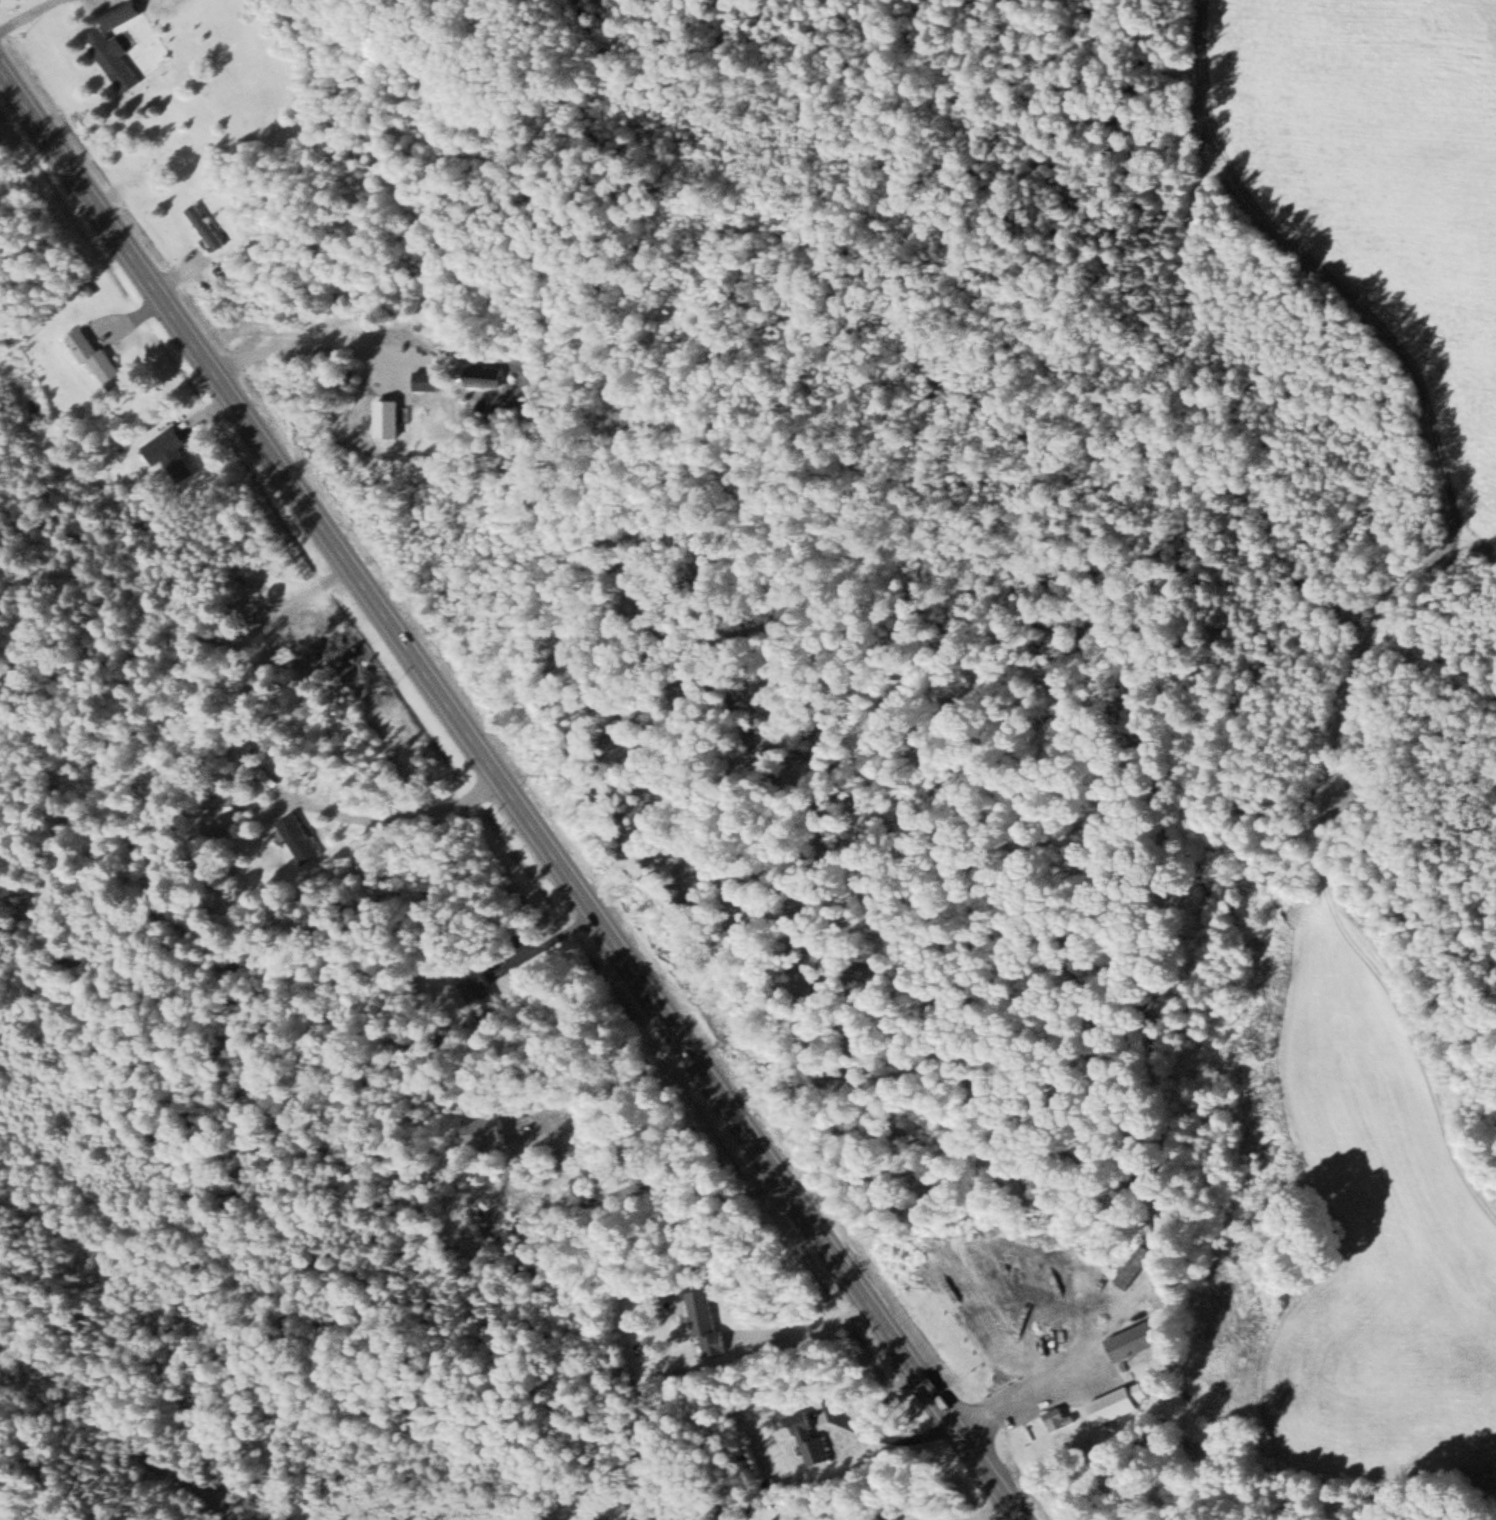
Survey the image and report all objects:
building: (121, 14)
building: (112, 59)
building: (203, 227)
building: (94, 359)
building: (482, 375)
building: (424, 380)
building: (386, 417)
building: (170, 453)
road: (587, 573)
road: (510, 794)
building: (222, 807)
building: (298, 838)
building: (484, 997)
building: (489, 1132)
building: (704, 1324)
building: (1133, 1340)
building: (1120, 1400)
building: (1056, 1418)
building: (807, 1438)

